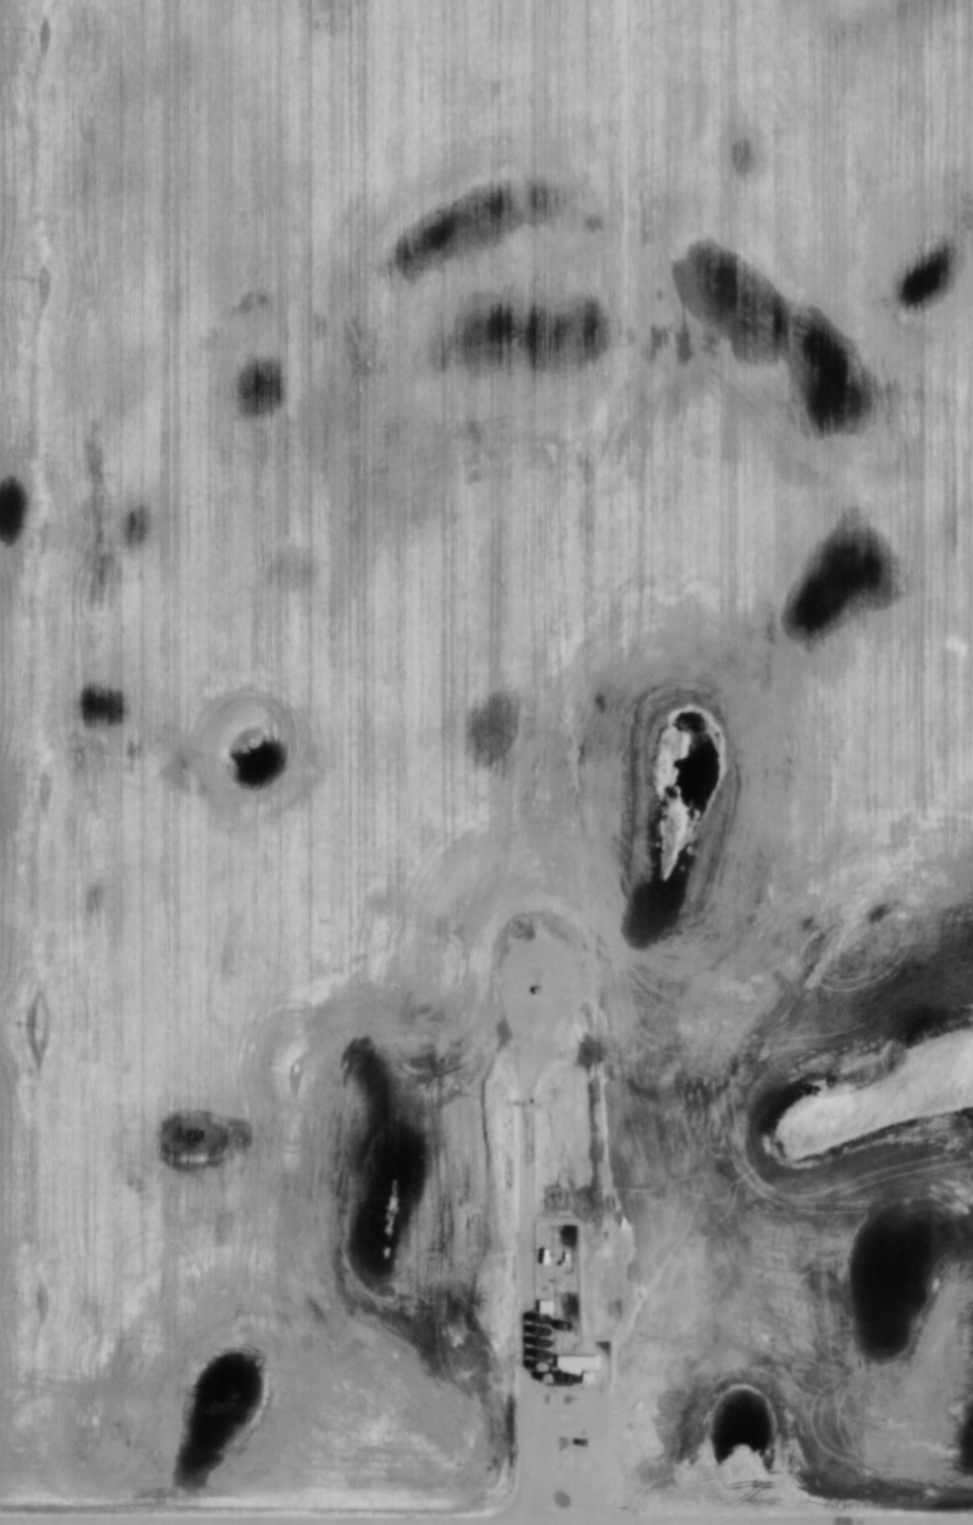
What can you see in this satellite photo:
road: (530, 1282)
building: (544, 1314)
road: (486, 1515)
road: (529, 1520)
road: (651, 1520)

